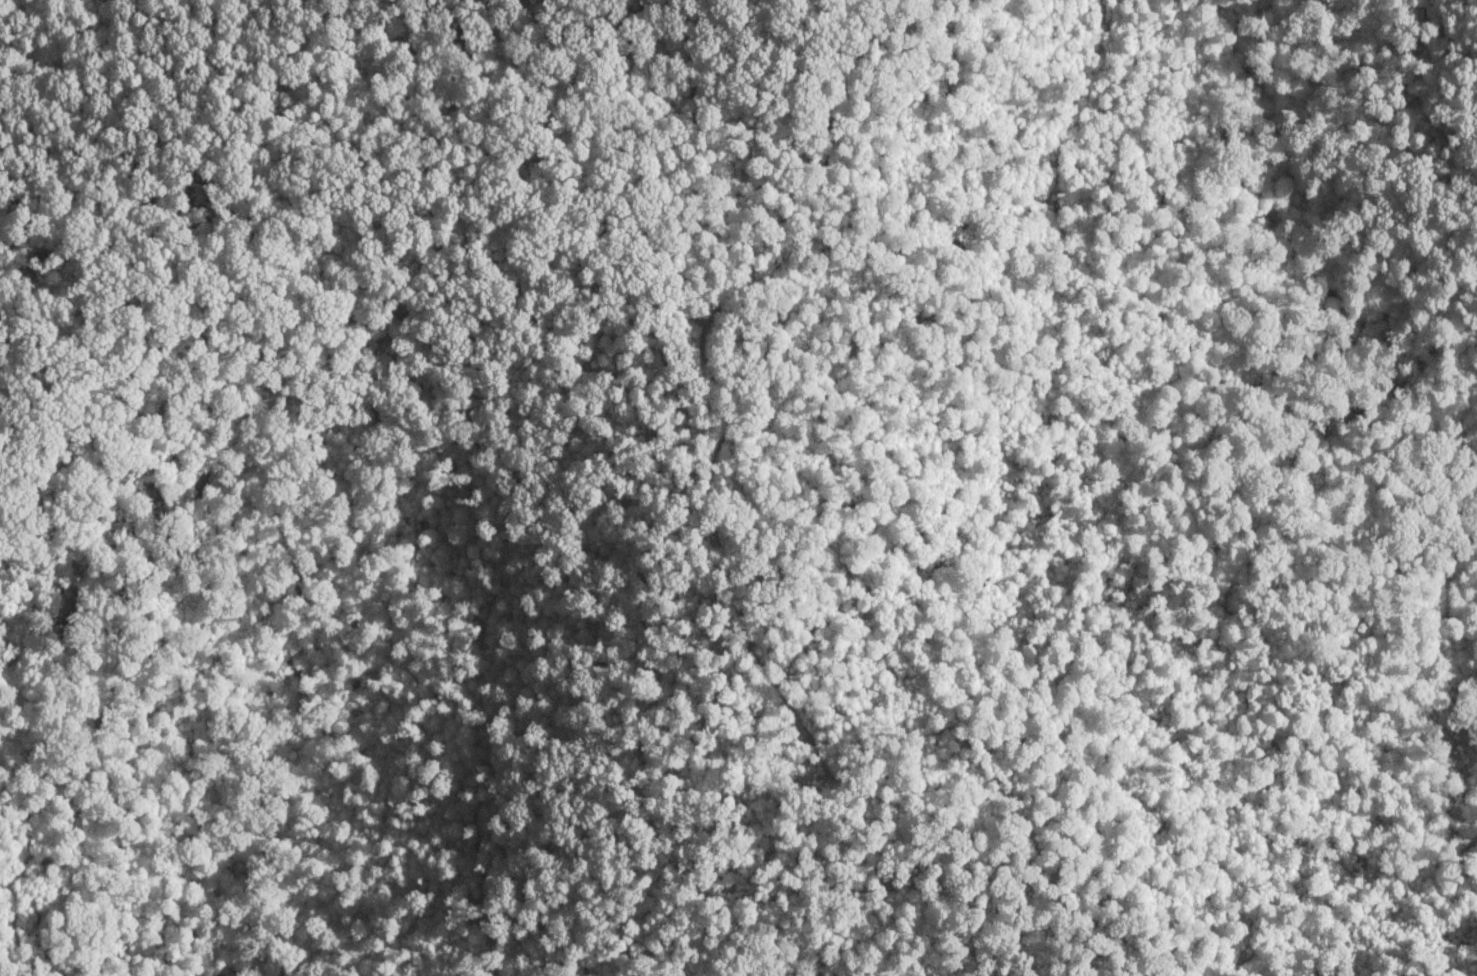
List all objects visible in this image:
road: (485, 249)

